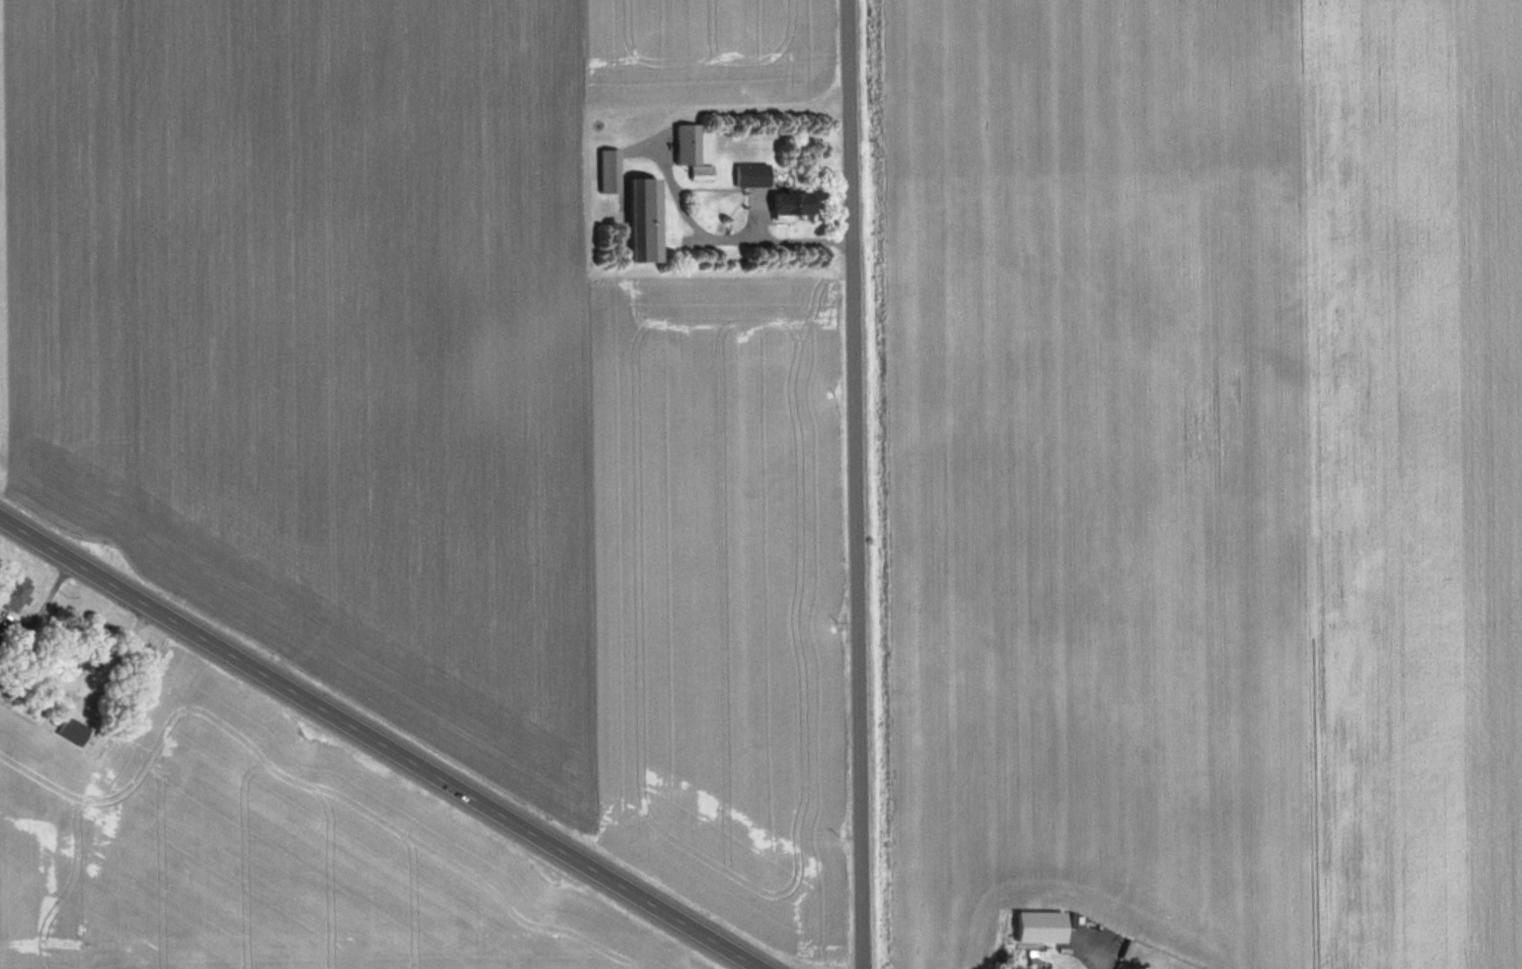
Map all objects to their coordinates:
building: (692, 150)
building: (611, 170)
building: (752, 173)
road: (676, 195)
building: (794, 203)
building: (645, 218)
road: (771, 239)
road: (860, 484)
building: (15, 590)
building: (88, 664)
building: (75, 730)
road: (376, 745)
building: (1042, 927)

